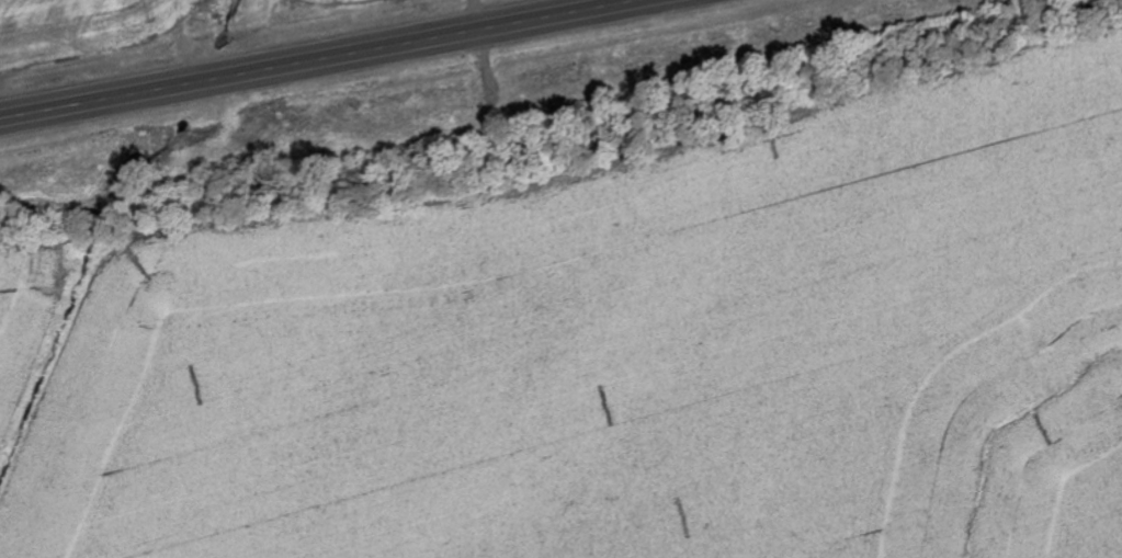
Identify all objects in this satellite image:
road: (250, 47)

